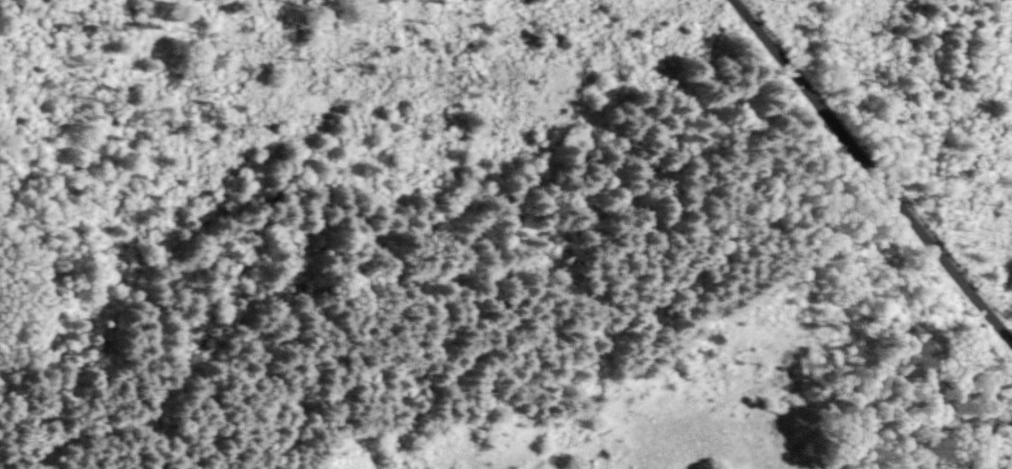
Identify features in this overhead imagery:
road: (871, 173)

